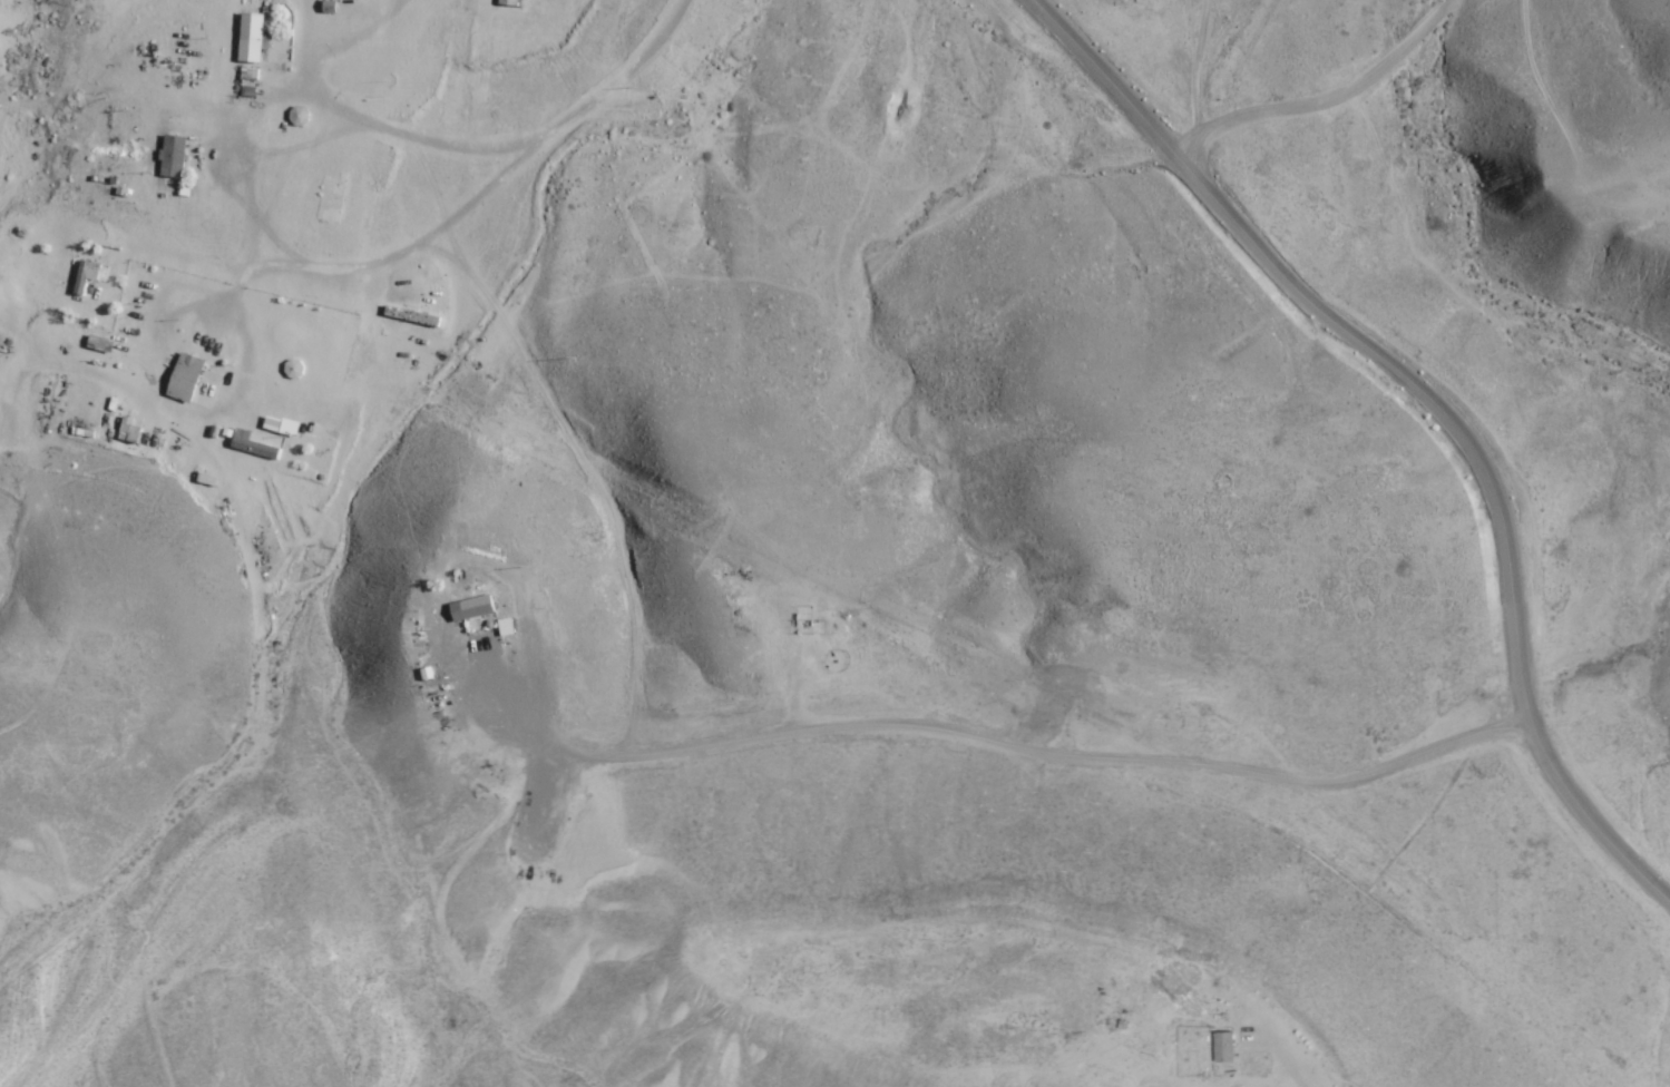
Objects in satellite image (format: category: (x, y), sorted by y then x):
building: (514, 2)
building: (250, 37)
road: (1197, 88)
building: (172, 155)
building: (330, 202)
building: (85, 274)
building: (411, 316)
building: (292, 368)
building: (185, 372)
road: (1443, 395)
building: (253, 444)
building: (476, 606)
building: (1223, 1047)

